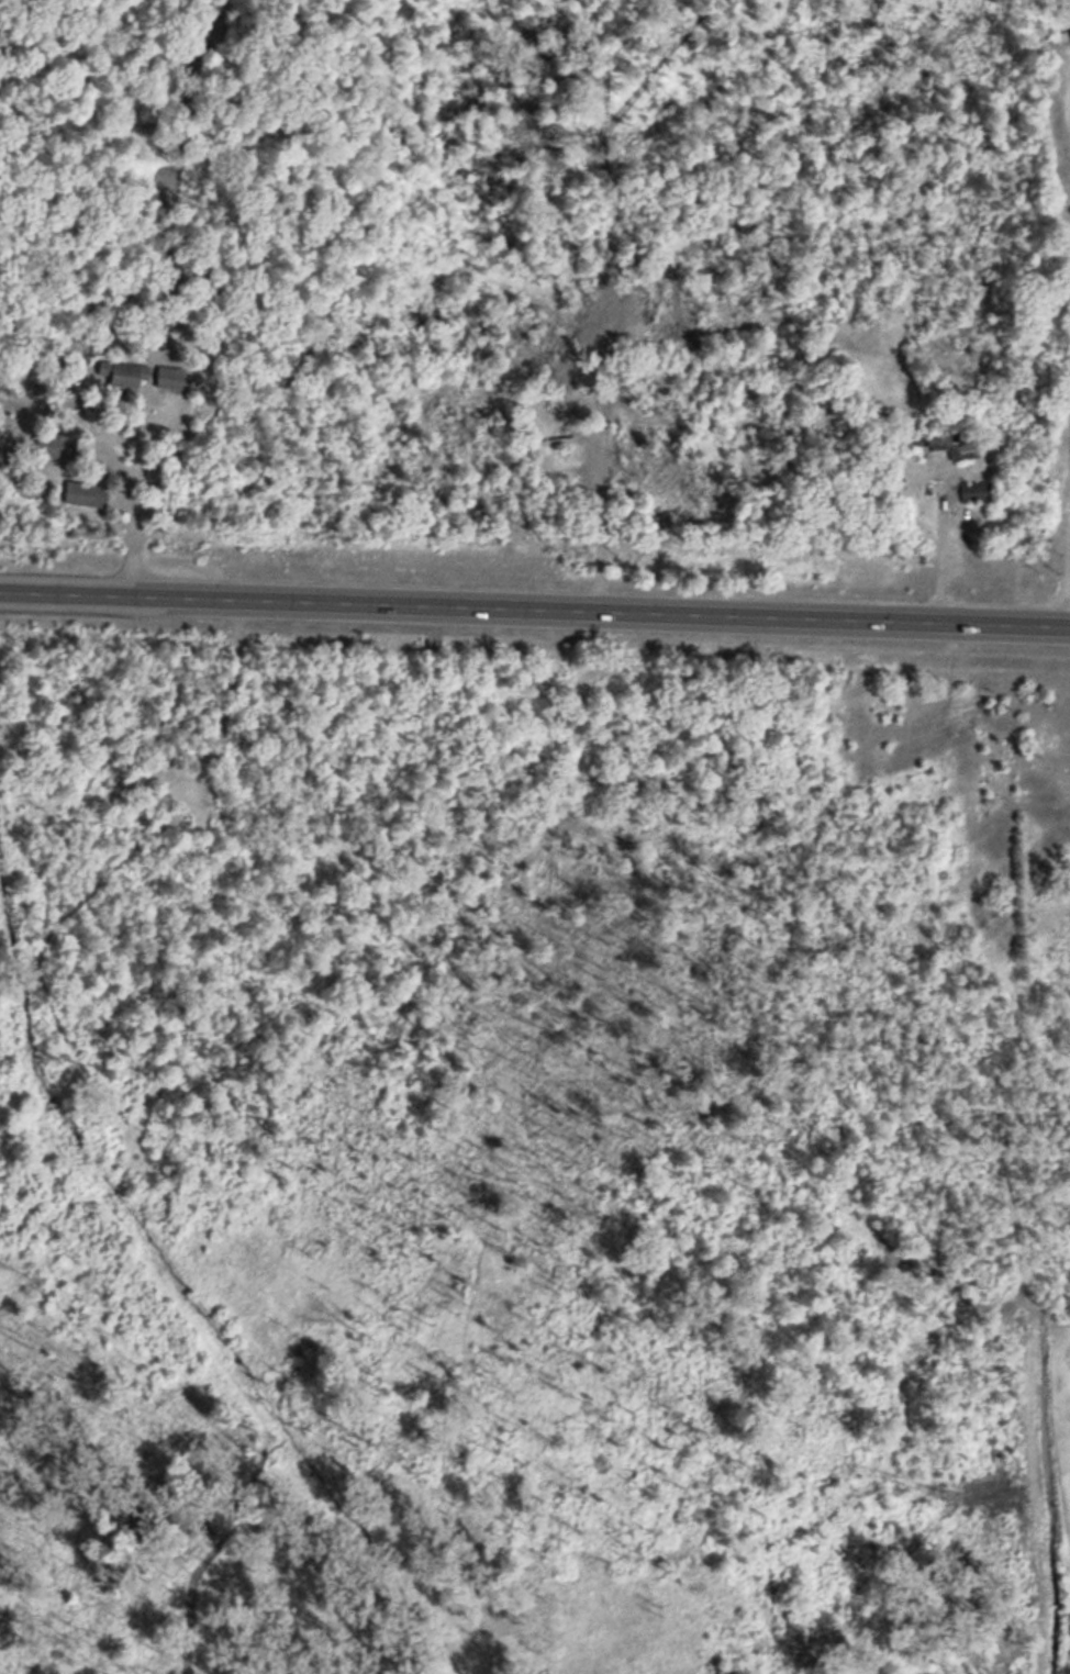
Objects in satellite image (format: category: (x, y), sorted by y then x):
road: (1066, 105)
building: (118, 371)
building: (163, 375)
building: (547, 440)
building: (959, 446)
road: (142, 488)
building: (972, 488)
building: (79, 490)
road: (1066, 569)
road: (535, 604)
park: (1054, 1470)

